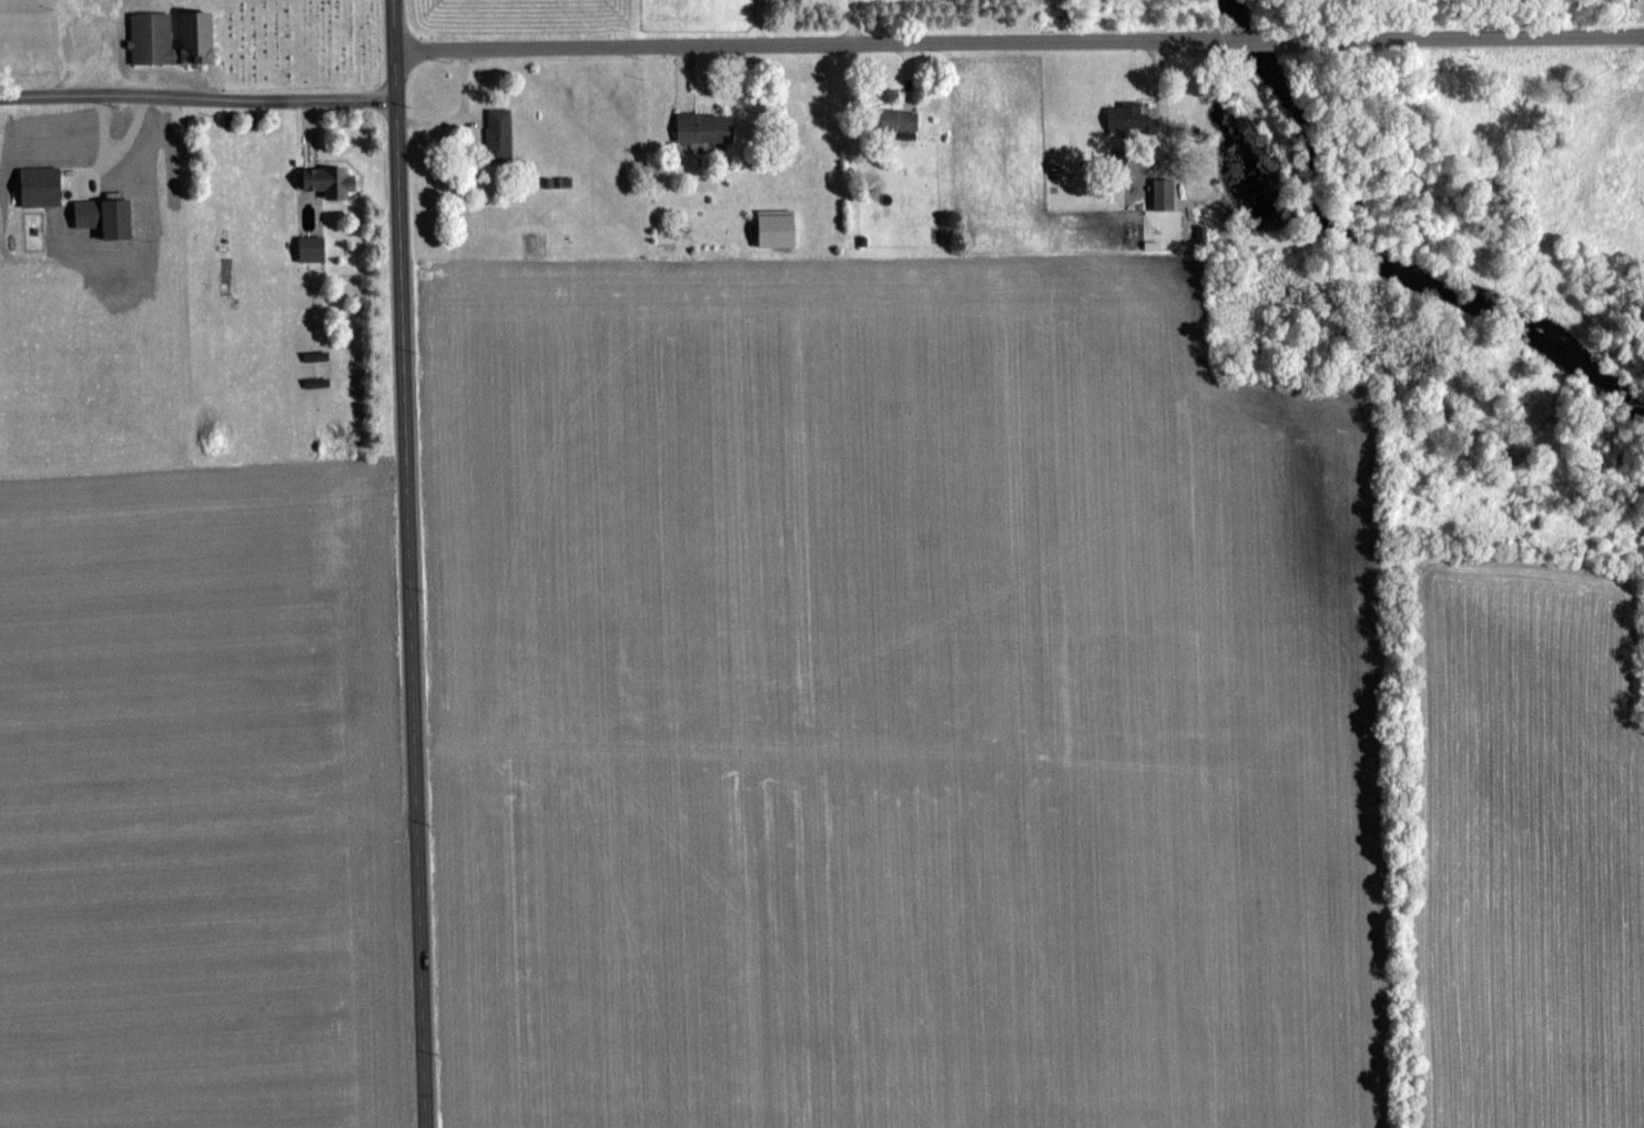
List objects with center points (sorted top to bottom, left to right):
road: (851, 21)
road: (394, 24)
road: (1479, 35)
building: (154, 37)
building: (200, 37)
road: (1270, 38)
park: (183, 40)
road: (811, 42)
road: (197, 100)
road: (1160, 103)
road: (460, 114)
building: (899, 120)
building: (1128, 122)
building: (708, 126)
building: (500, 134)
building: (331, 180)
building: (1166, 193)
building: (780, 227)
building: (314, 247)
road: (409, 588)

